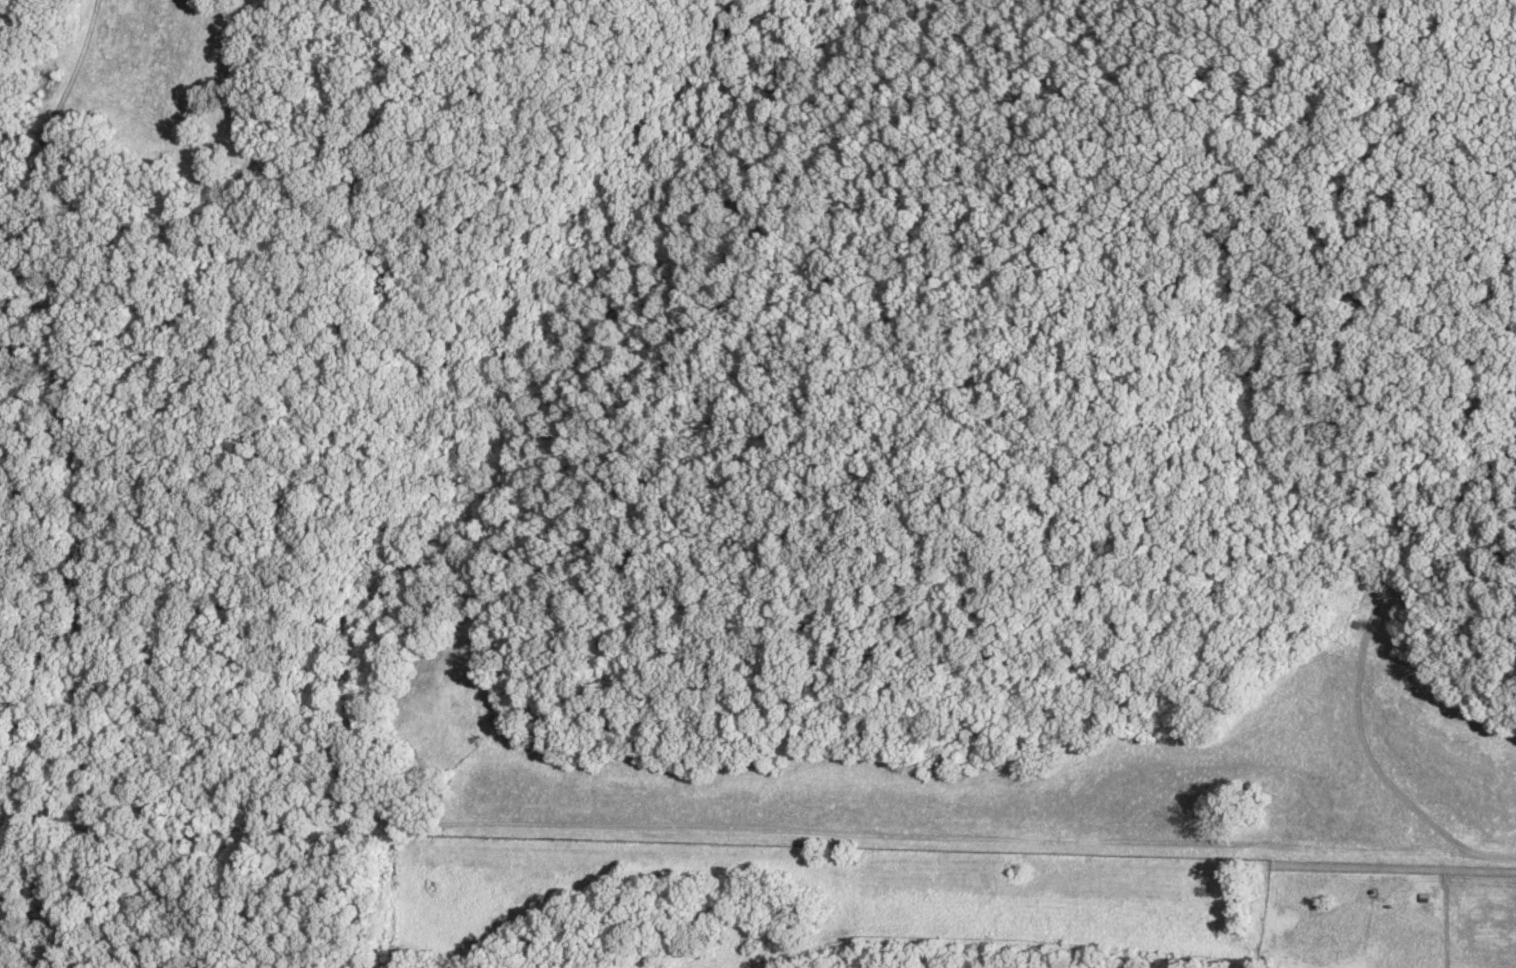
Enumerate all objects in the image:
road: (949, 838)

